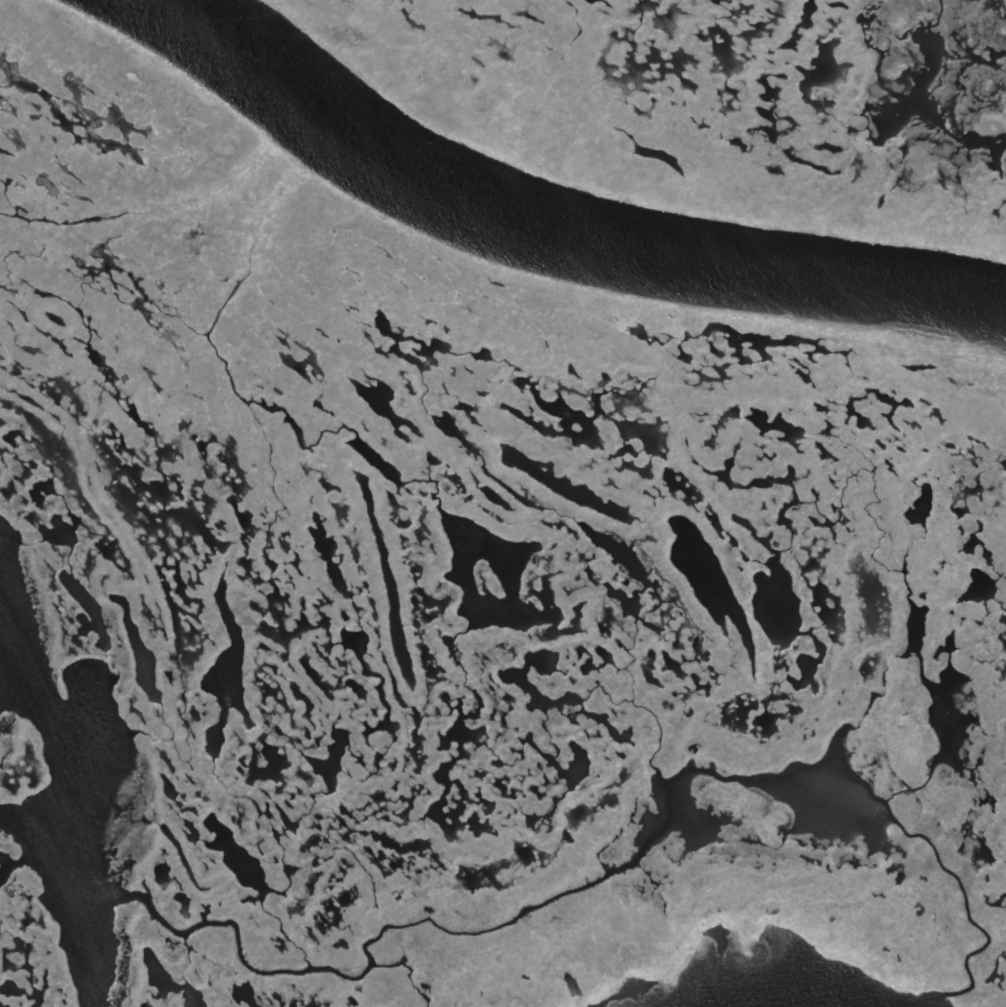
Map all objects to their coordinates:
river: (532, 230)

